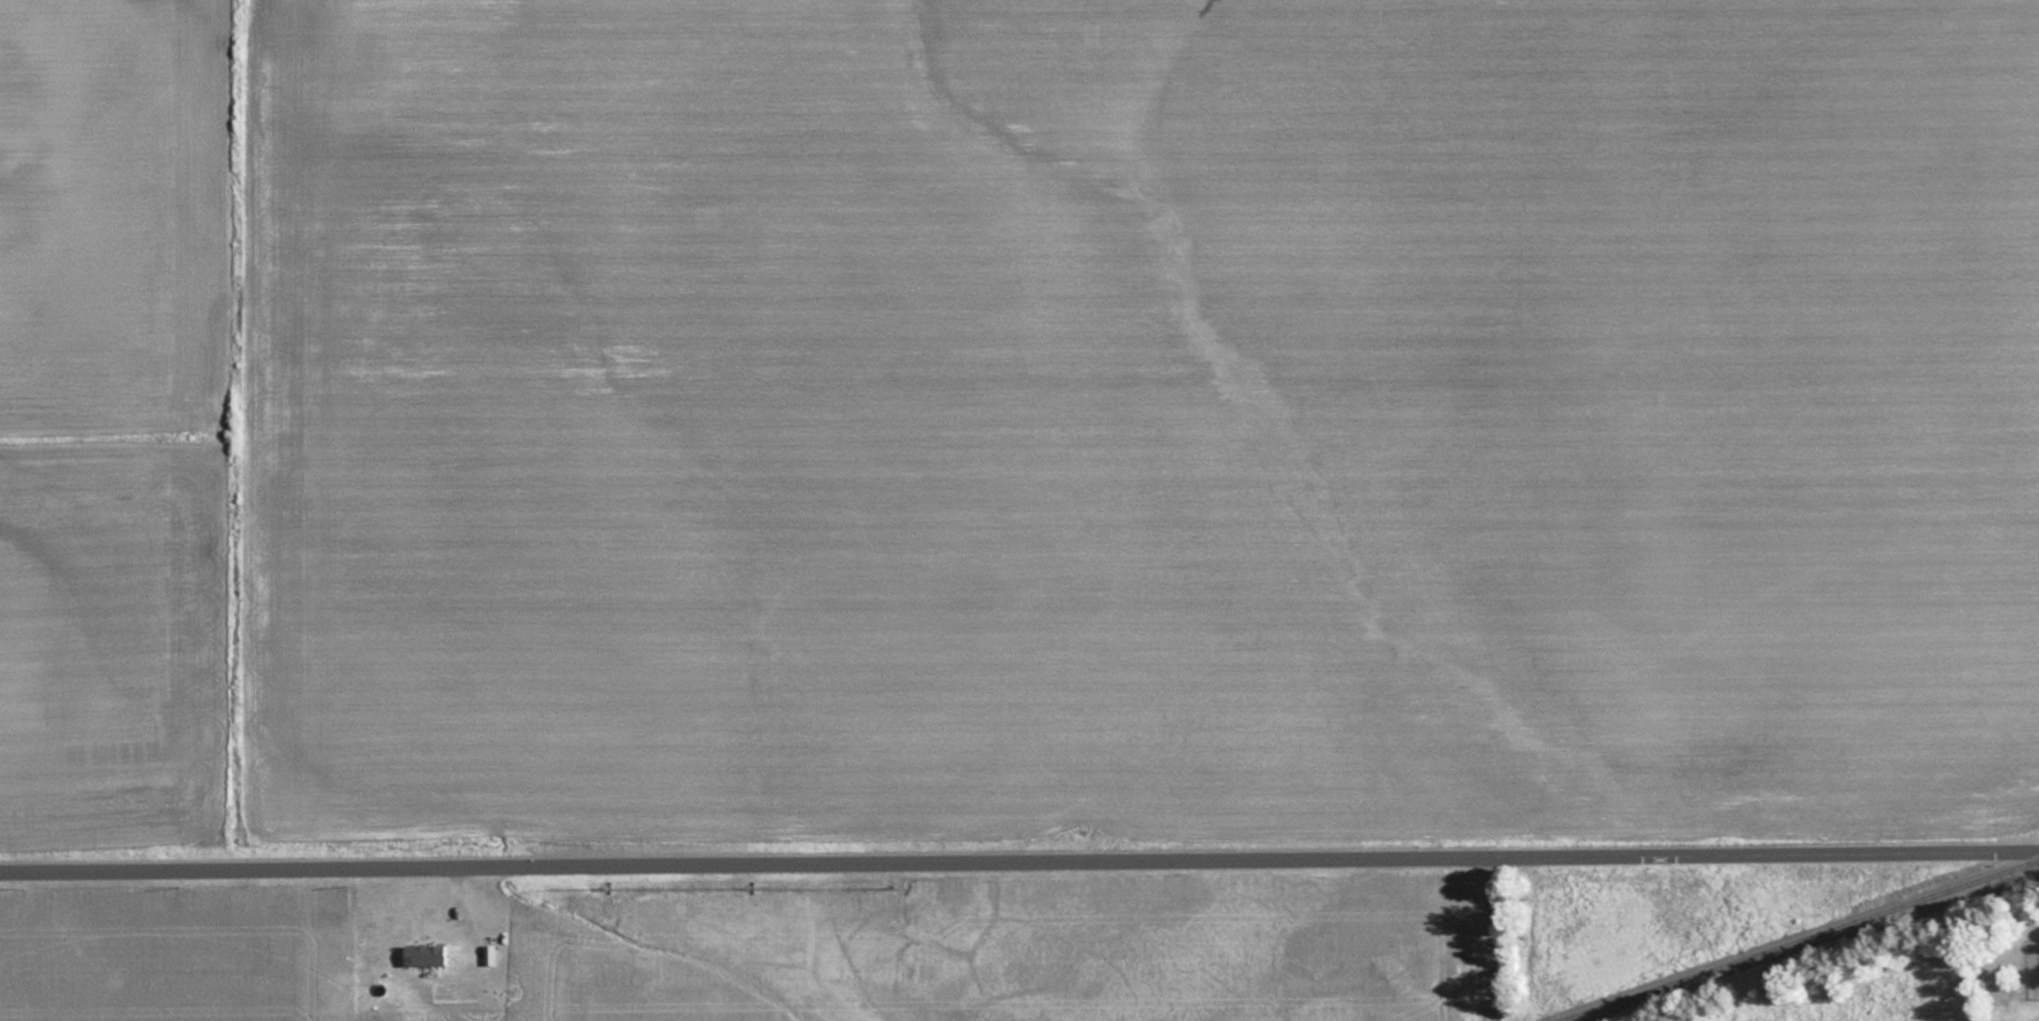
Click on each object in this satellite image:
road: (1019, 865)
railway: (1806, 940)

